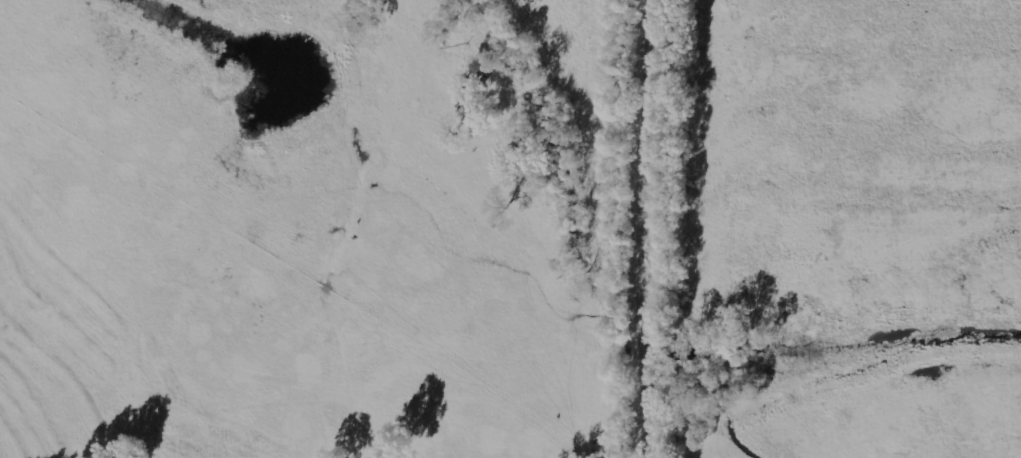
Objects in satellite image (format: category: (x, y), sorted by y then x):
road: (653, 228)

